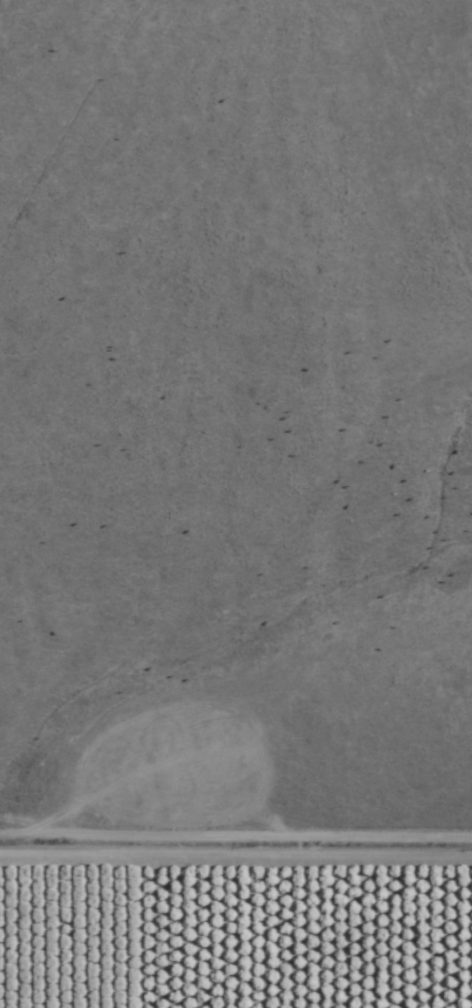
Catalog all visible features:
road: (78, 131)
road: (428, 136)
road: (235, 875)
crop: (234, 934)

